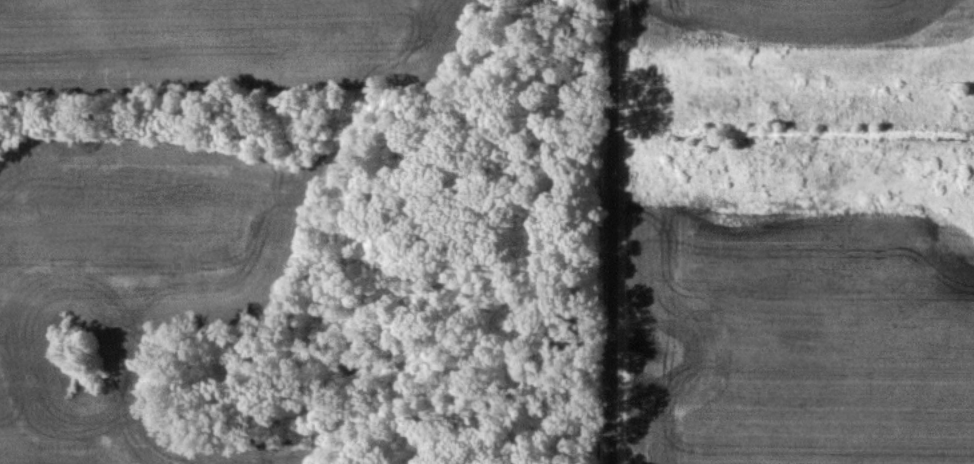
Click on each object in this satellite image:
road: (609, 232)

